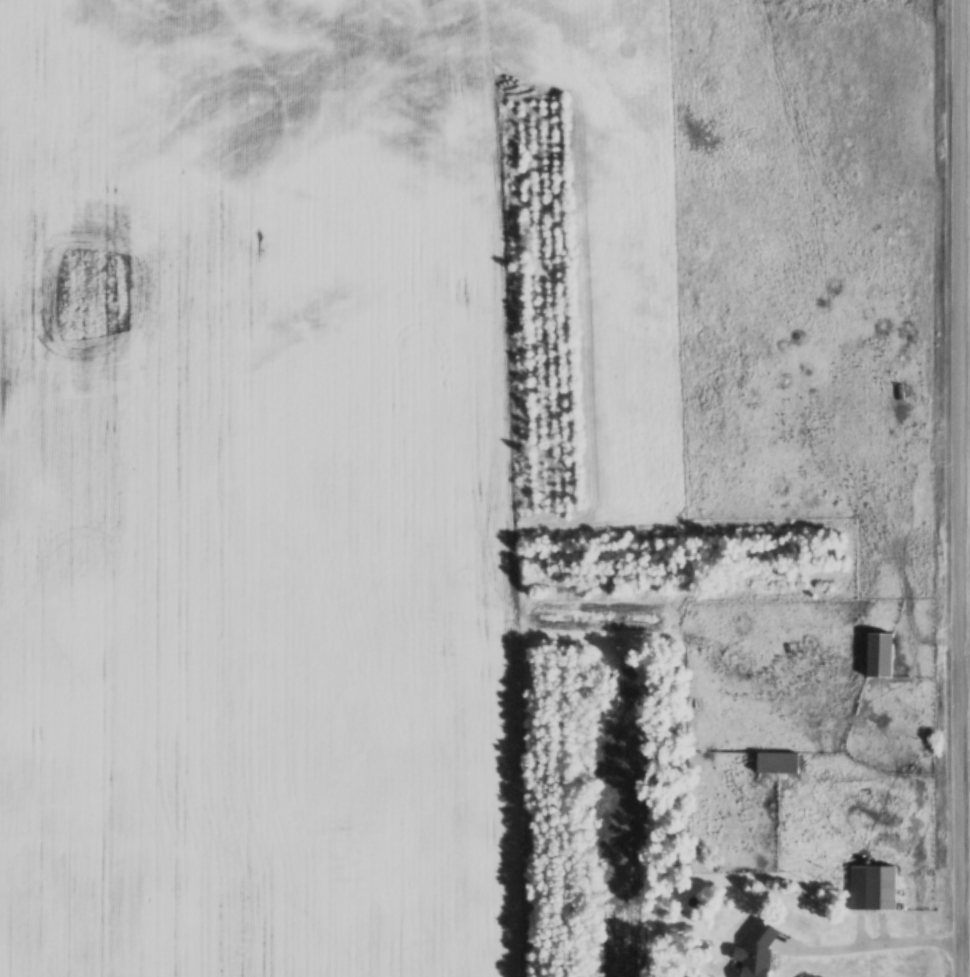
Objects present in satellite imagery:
road: (966, 488)
building: (872, 656)
building: (771, 764)
building: (867, 889)
building: (751, 952)

